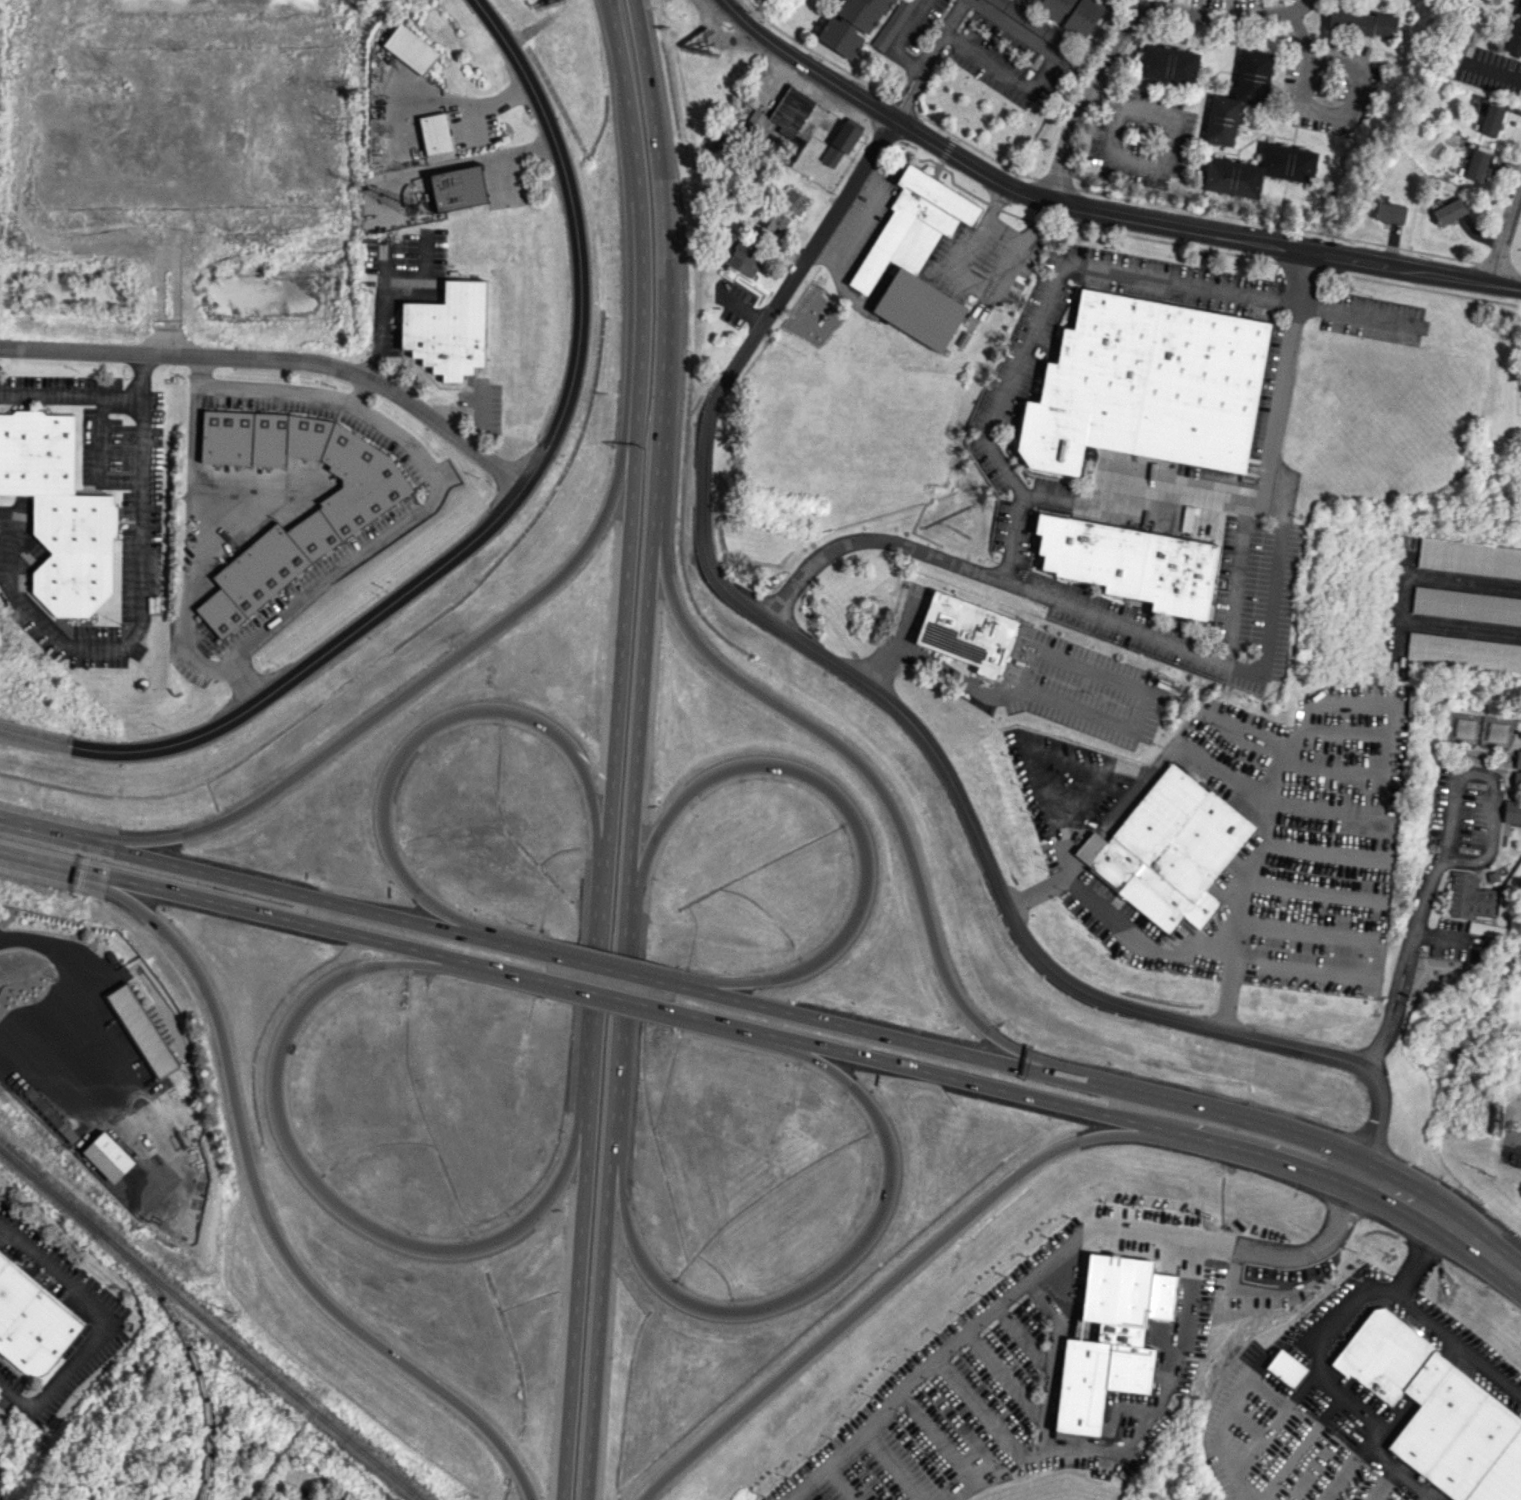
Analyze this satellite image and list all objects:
road: (1140, 4)
building: (1072, 13)
building: (1030, 21)
building: (1361, 22)
building: (892, 24)
building: (851, 25)
road: (1130, 27)
road: (1014, 29)
building: (1515, 31)
road: (942, 33)
road: (900, 37)
building: (410, 49)
building: (1168, 65)
road: (801, 66)
road: (1002, 70)
road: (1495, 73)
building: (1252, 76)
road: (899, 87)
road: (910, 94)
road: (451, 98)
building: (1027, 98)
road: (1321, 109)
building: (783, 114)
building: (1221, 120)
building: (1490, 121)
building: (435, 133)
road: (1168, 144)
building: (839, 145)
road: (453, 162)
building: (1474, 165)
building: (1259, 171)
building: (458, 188)
building: (794, 201)
building: (1449, 211)
building: (1389, 212)
building: (775, 221)
road: (1196, 228)
road: (1505, 232)
road: (577, 236)
building: (915, 257)
building: (743, 260)
road: (663, 261)
road: (394, 327)
building: (447, 329)
road: (279, 360)
road: (195, 371)
building: (1147, 386)
road: (71, 393)
road: (995, 417)
road: (637, 423)
road: (433, 486)
road: (1188, 489)
building: (59, 512)
building: (343, 515)
building: (1469, 558)
road: (186, 562)
building: (1131, 563)
road: (142, 601)
building: (1466, 606)
road: (511, 615)
road: (1268, 619)
road: (903, 623)
building: (968, 633)
building: (1464, 651)
road: (1058, 662)
road: (286, 679)
road: (900, 711)
road: (425, 727)
building: (1462, 727)
building: (1495, 732)
road: (1387, 763)
building: (1517, 767)
road: (1492, 781)
road: (1075, 785)
road: (880, 788)
building: (1512, 812)
road: (851, 814)
road: (1062, 843)
building: (1169, 850)
road: (240, 880)
road: (1039, 891)
road: (1314, 893)
building: (1467, 896)
road: (238, 907)
building: (1484, 929)
road: (1450, 938)
road: (513, 945)
road: (1362, 959)
road: (1404, 963)
road: (610, 968)
road: (510, 971)
road: (597, 973)
road: (682, 986)
road: (608, 994)
road: (84, 999)
road: (619, 1011)
road: (732, 1024)
building: (140, 1031)
road: (878, 1033)
road: (985, 1085)
road: (1215, 1113)
building: (53, 1119)
road: (1515, 1141)
road: (1266, 1154)
road: (249, 1170)
road: (311, 1182)
road: (1422, 1207)
road: (1260, 1245)
road: (1504, 1265)
road: (894, 1280)
road: (810, 1287)
road: (575, 1299)
road: (1425, 1315)
road: (1338, 1316)
building: (32, 1322)
road: (103, 1323)
railway: (209, 1324)
building: (1022, 1327)
road: (945, 1350)
railway: (196, 1364)
building: (1285, 1368)
building: (1097, 1380)
road: (1167, 1380)
road: (1237, 1402)
building: (1438, 1413)
building: (1, 1428)
road: (1371, 1430)
road: (1264, 1435)
road: (1041, 1436)
road: (1399, 1471)

